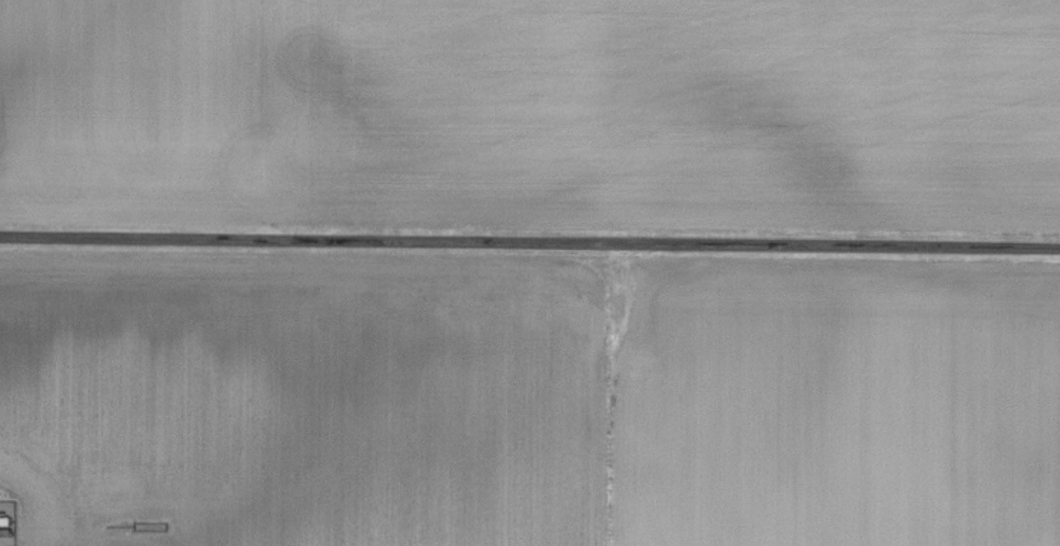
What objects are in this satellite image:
road: (530, 241)

